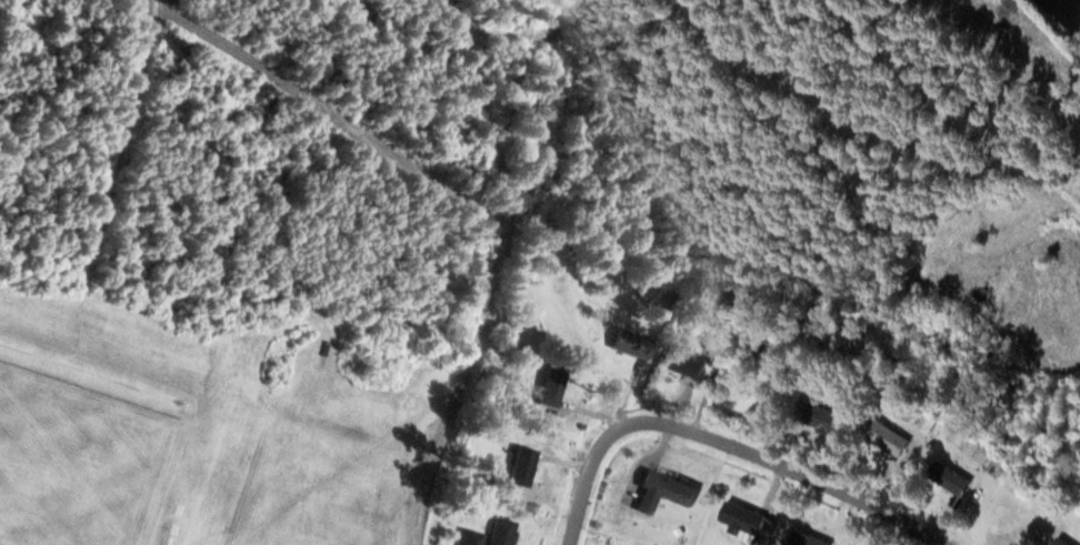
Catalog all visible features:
road: (153, 1)
road: (124, 141)
park: (252, 265)
road: (497, 271)
building: (636, 345)
building: (690, 364)
building: (556, 386)
building: (828, 418)
building: (891, 437)
road: (723, 445)
building: (527, 465)
park: (72, 472)
building: (953, 476)
building: (668, 491)
building: (749, 522)
building: (506, 532)
building: (810, 538)
building: (1067, 541)

